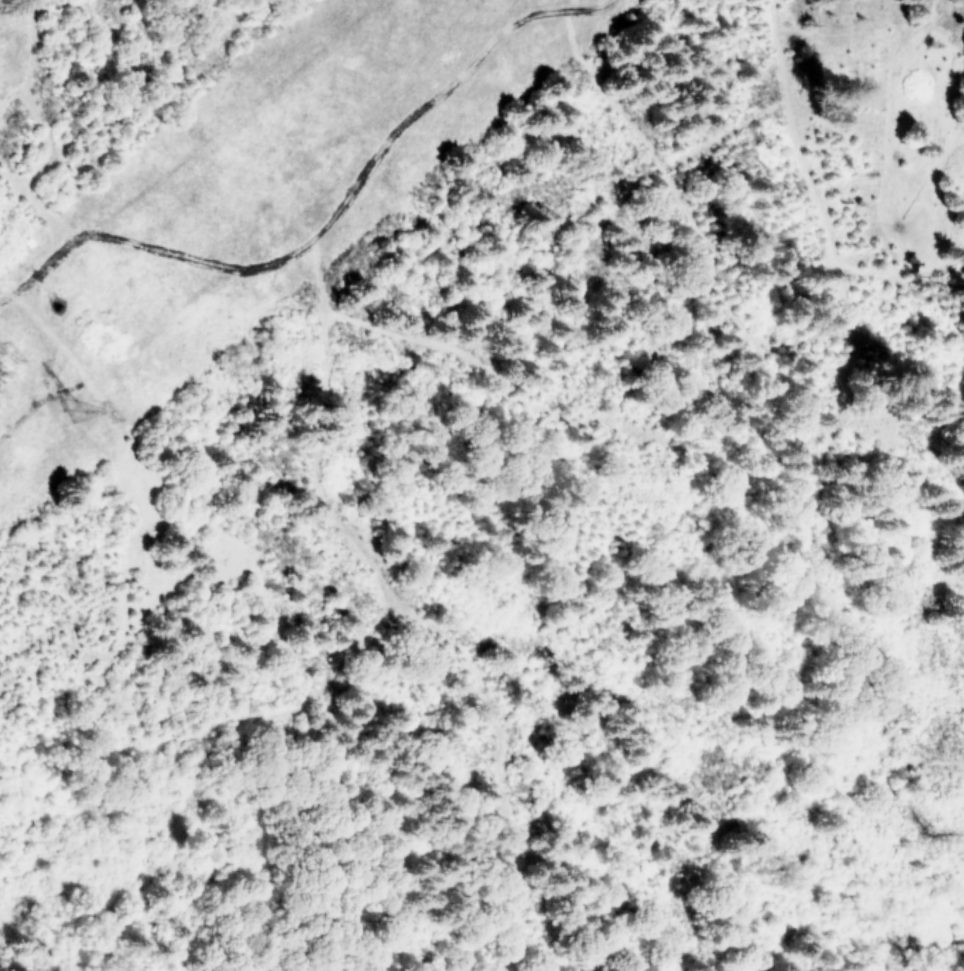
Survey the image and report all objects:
power tower: (82, 407)
road: (316, 439)

